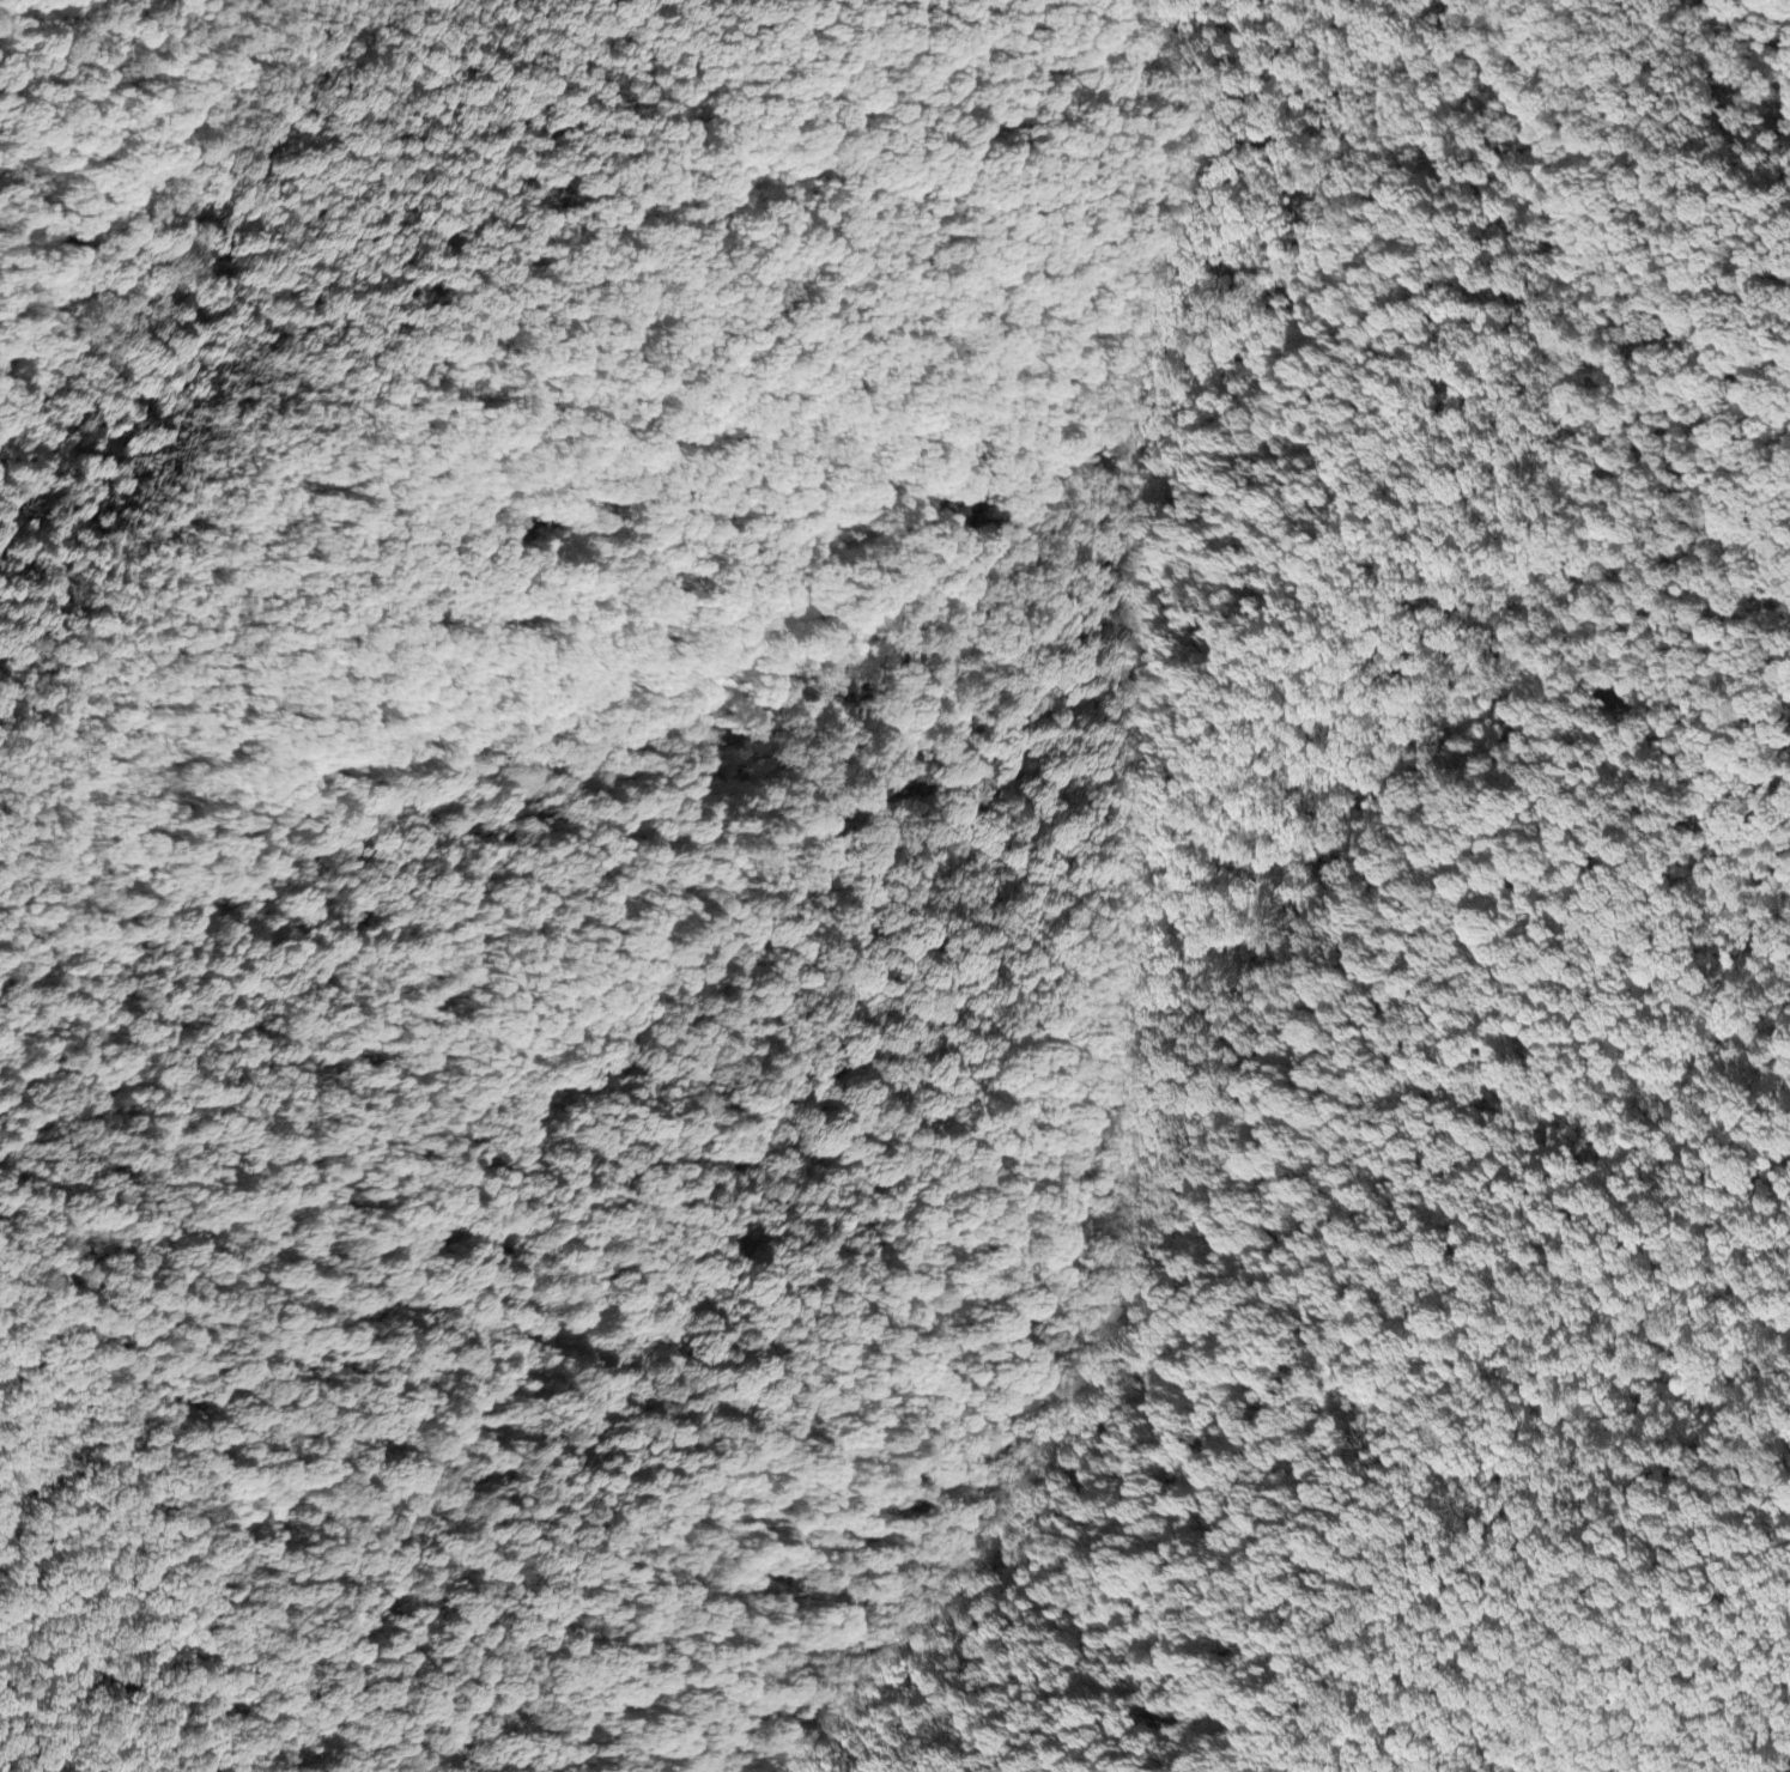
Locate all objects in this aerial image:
road: (160, 1582)

